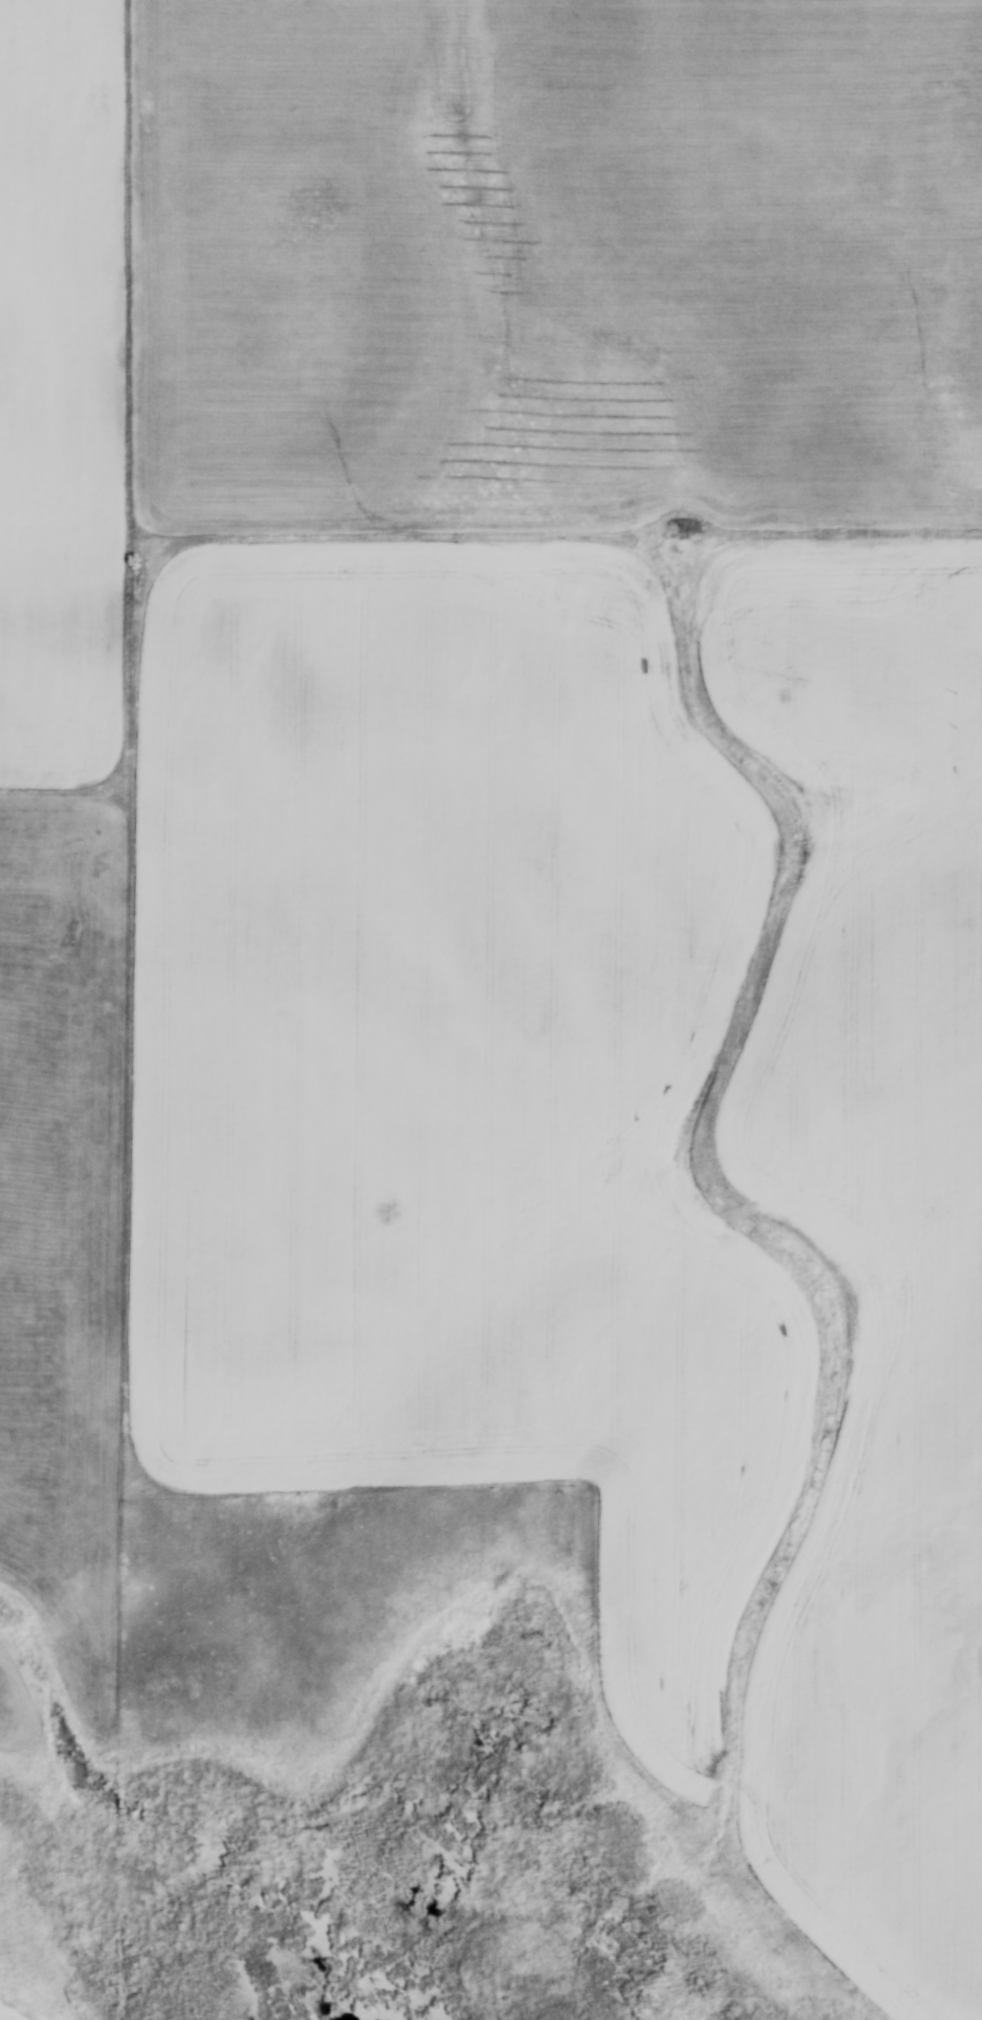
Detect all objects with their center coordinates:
river: (399, 1825)

